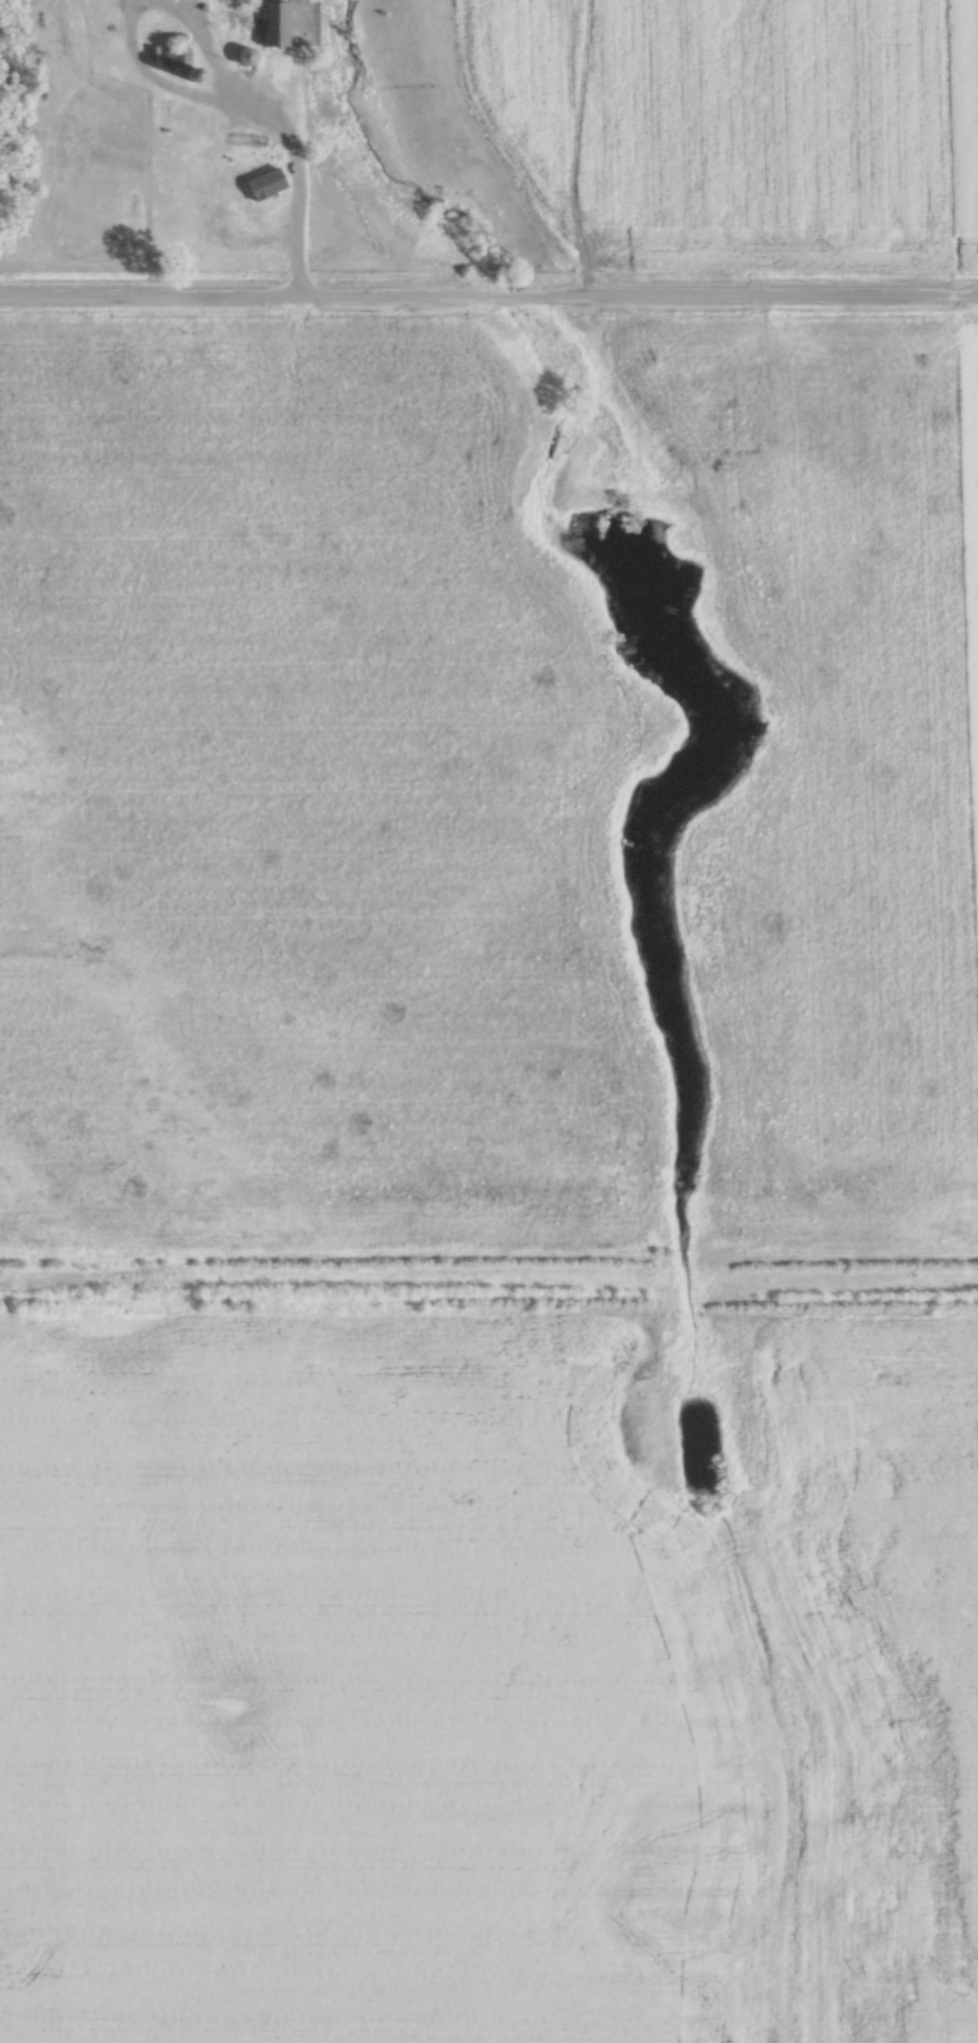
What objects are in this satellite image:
building: (242, 18)
building: (274, 26)
building: (176, 57)
building: (244, 57)
building: (264, 177)
road: (295, 226)
road: (488, 292)

